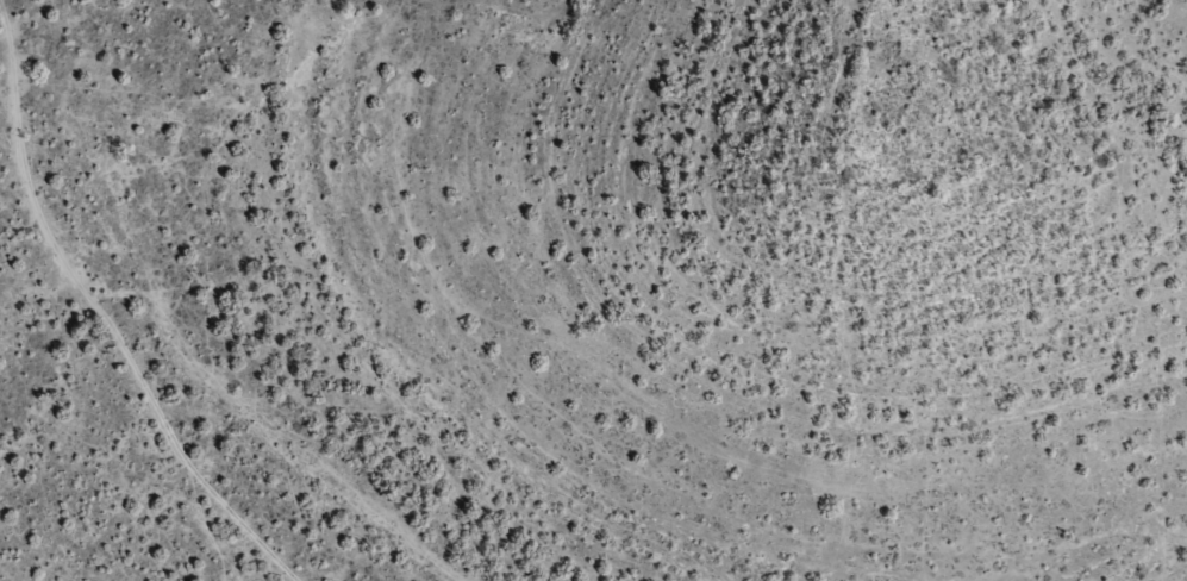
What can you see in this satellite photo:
road: (129, 320)

